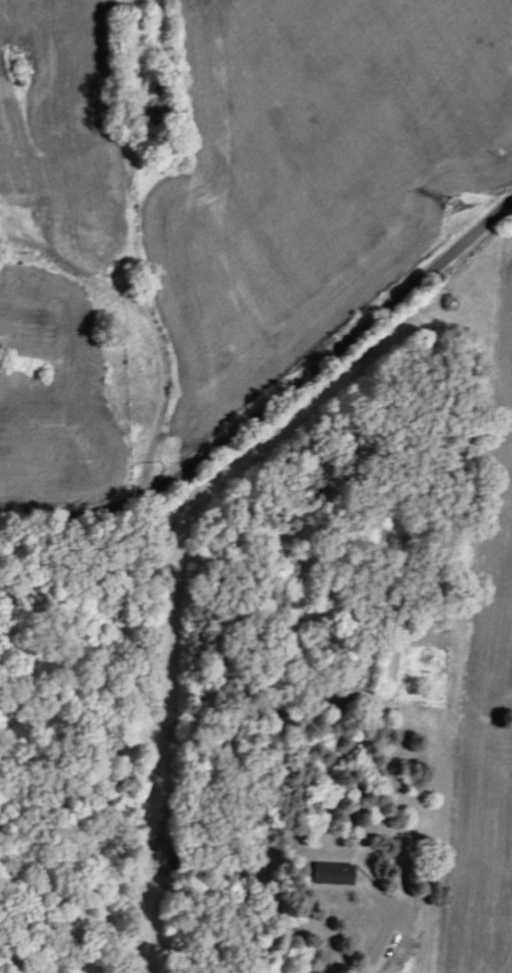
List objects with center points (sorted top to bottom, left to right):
road: (276, 403)
building: (331, 872)
road: (388, 946)

